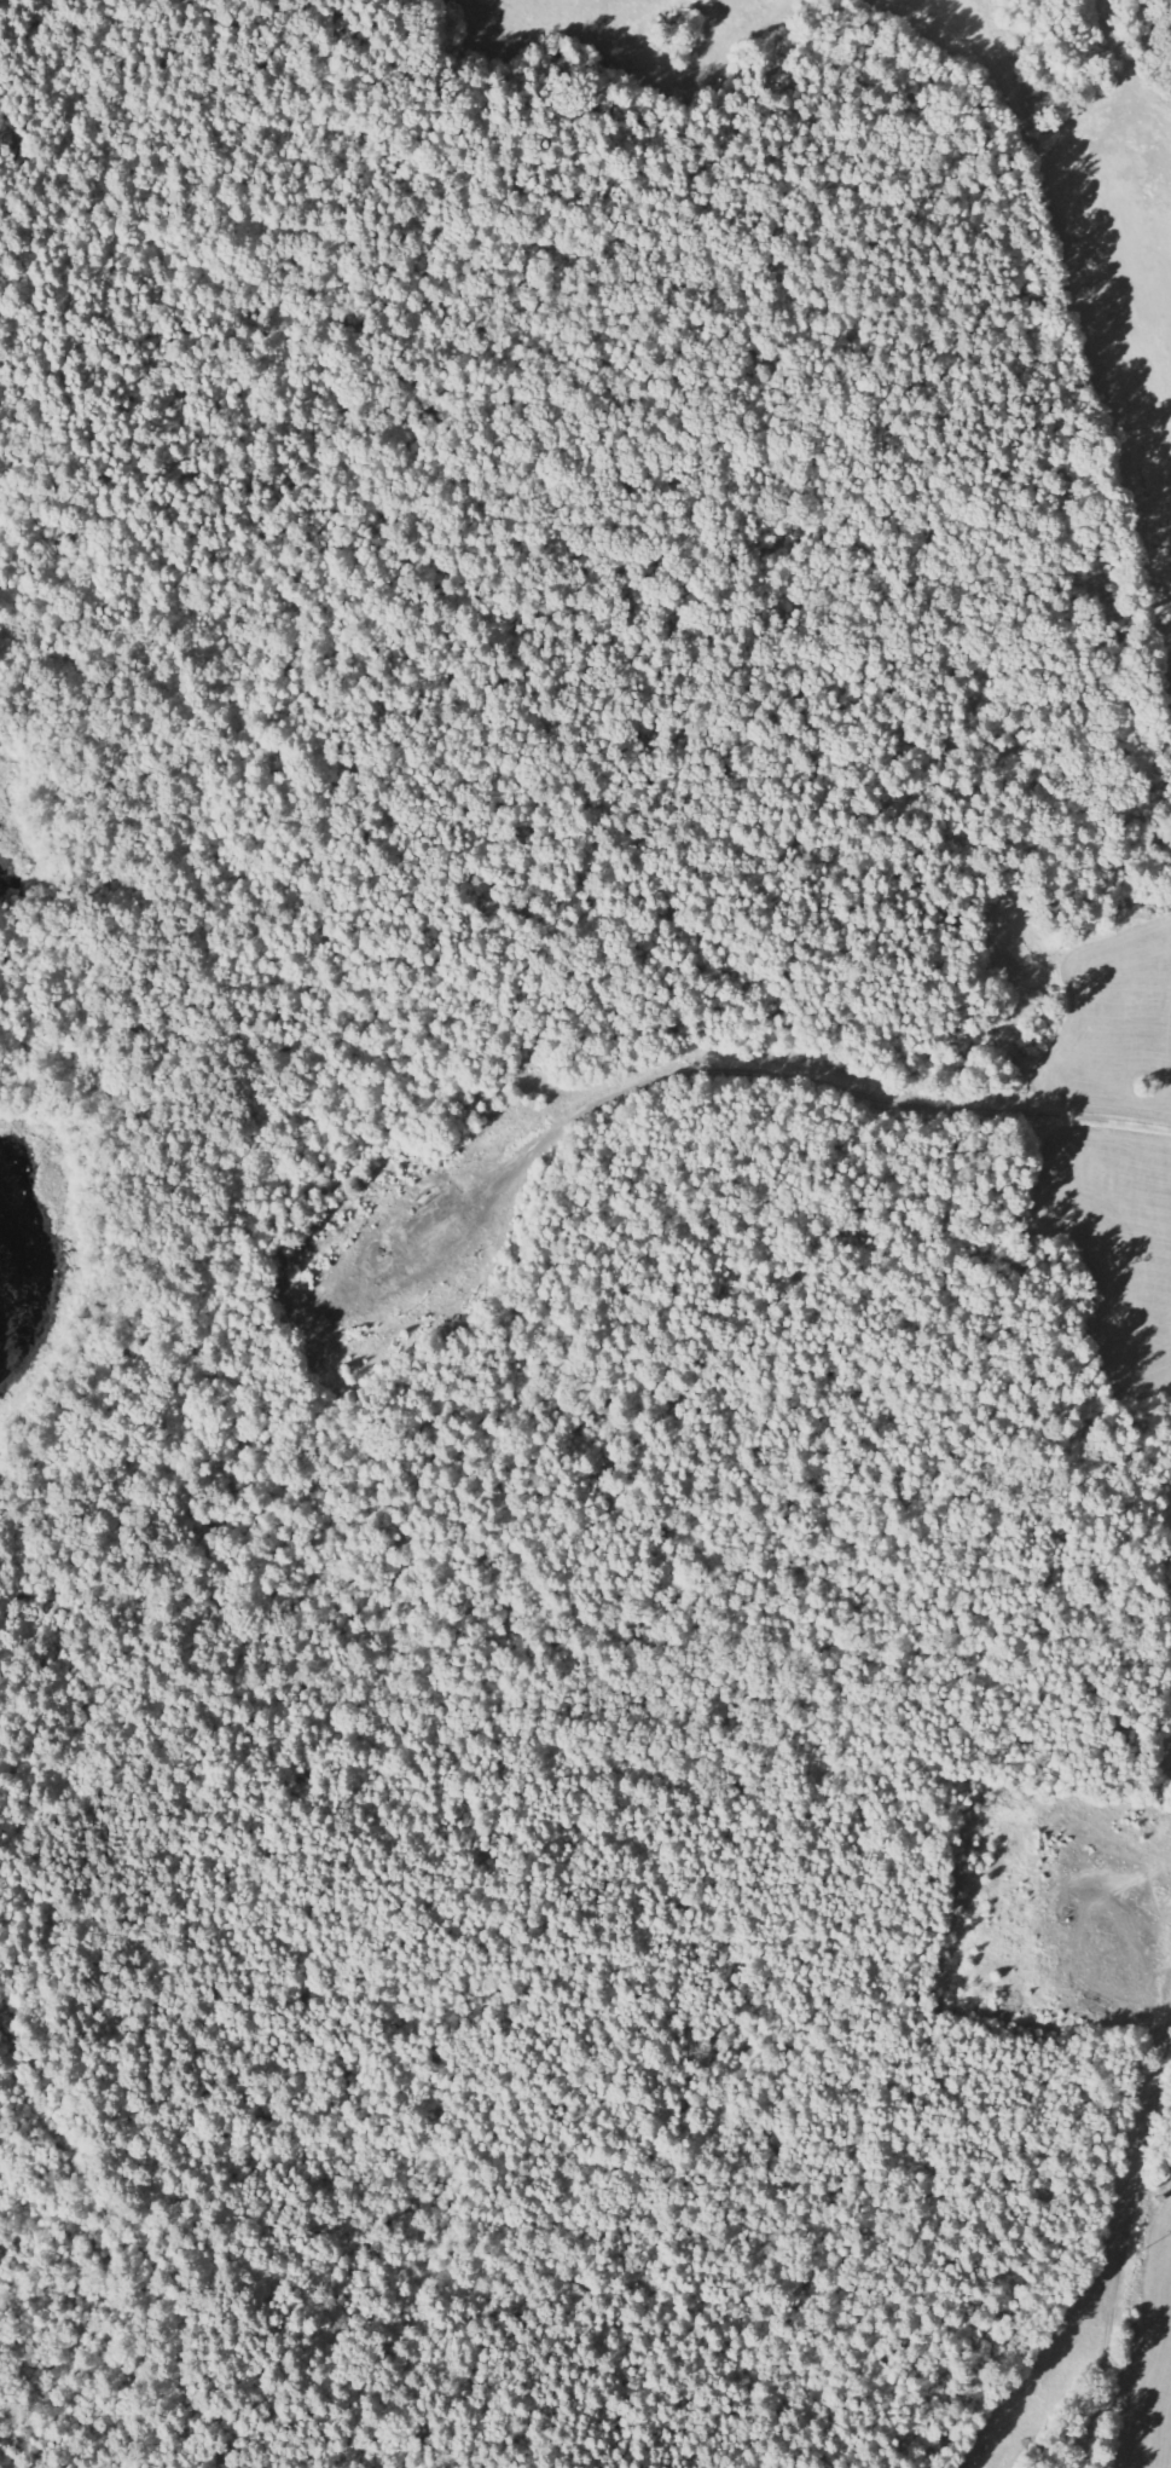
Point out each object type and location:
road: (1161, 15)
road: (748, 1071)
road: (1125, 2239)

